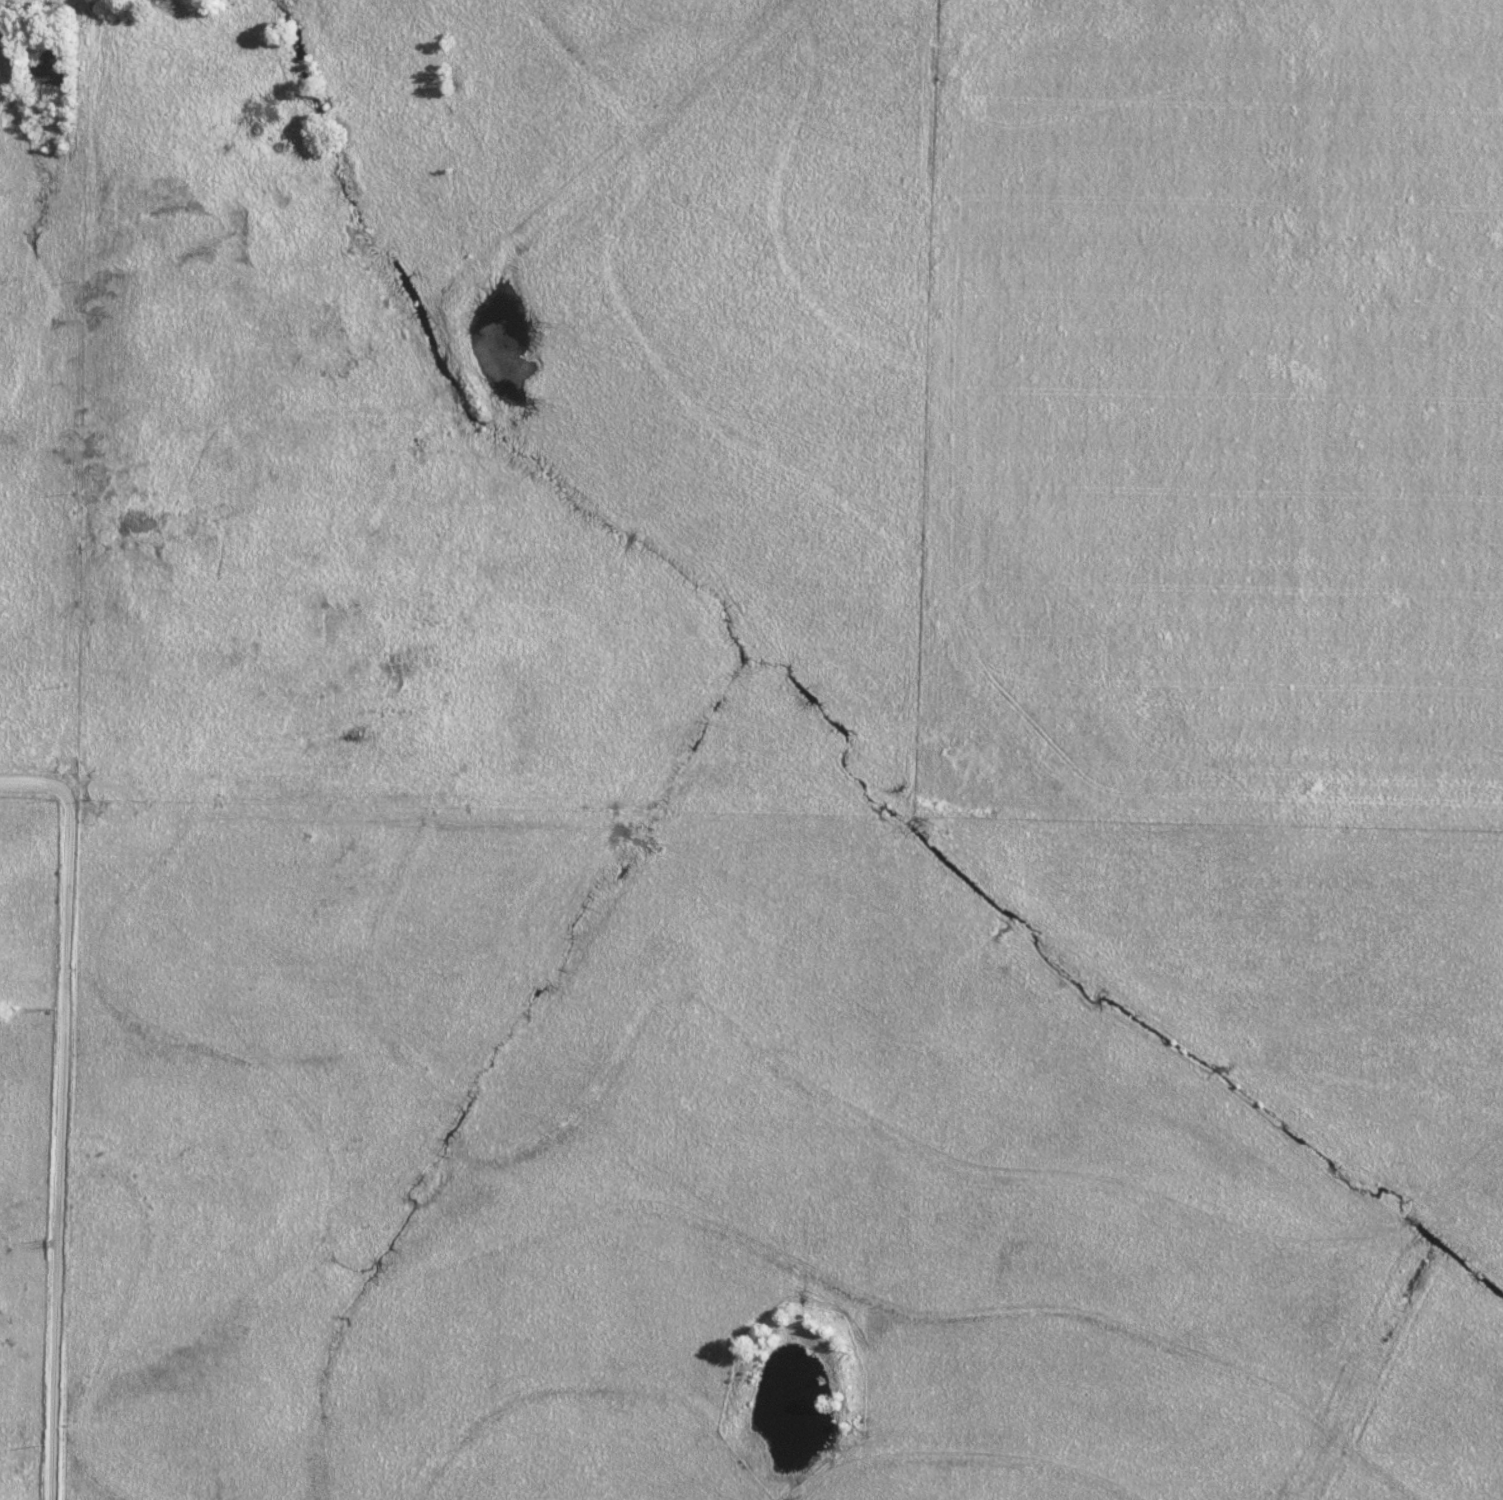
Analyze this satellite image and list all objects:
road: (44, 782)
road: (63, 1154)

